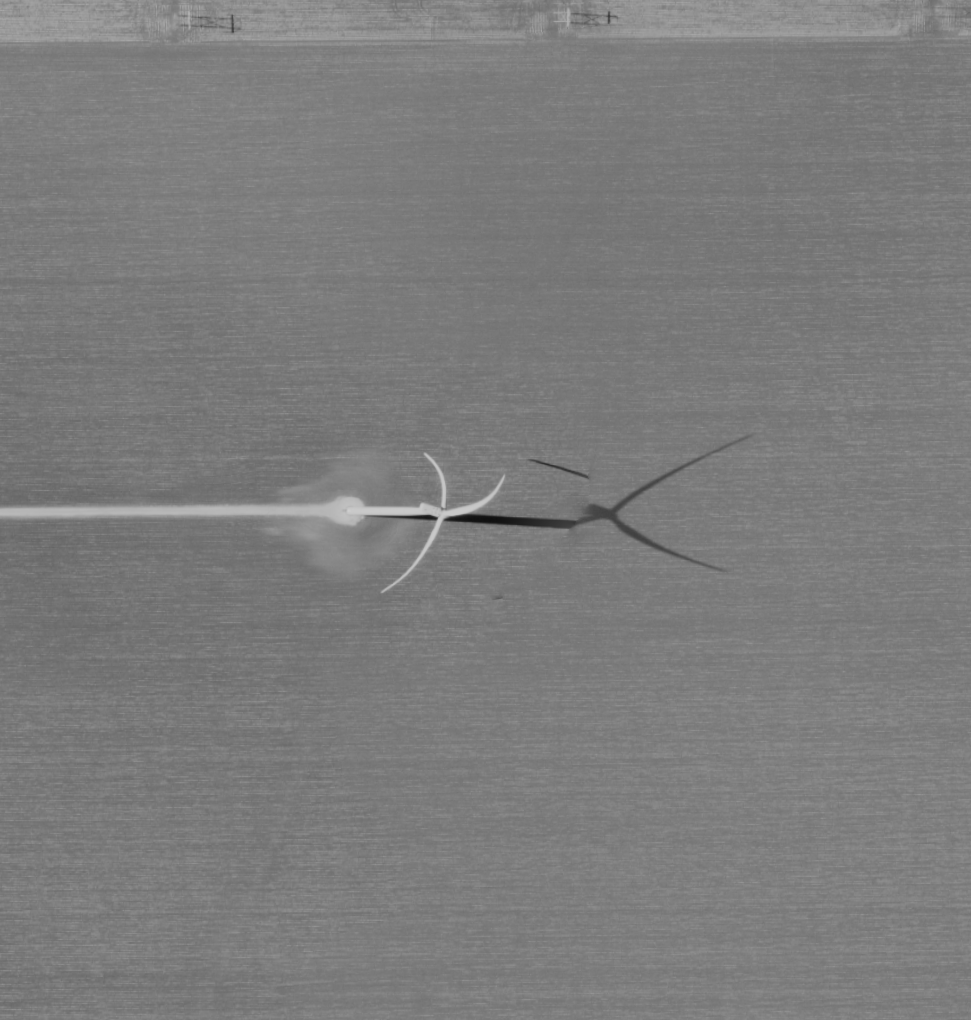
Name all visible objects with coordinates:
power tower: (941, 10)
power tower: (557, 14)
power tower: (179, 18)
wind turbine: (352, 506)

